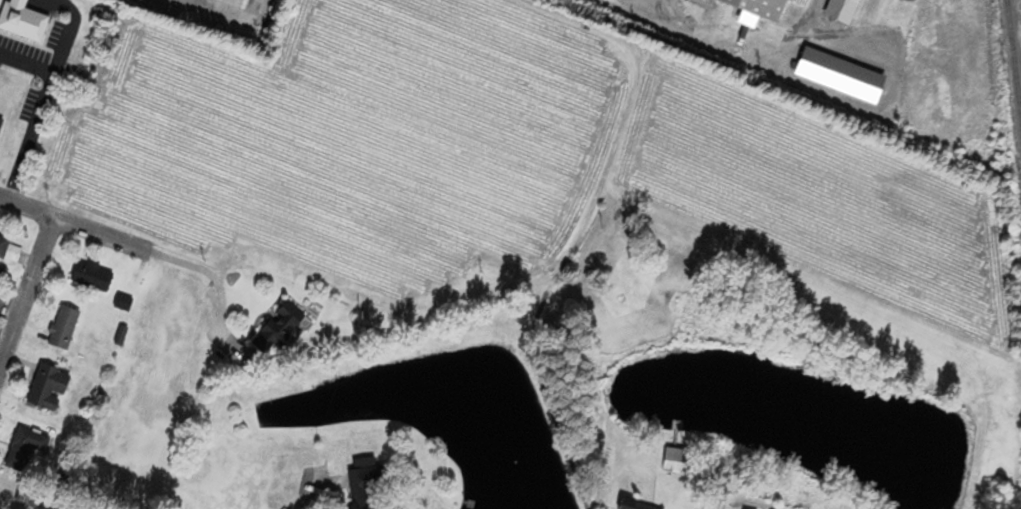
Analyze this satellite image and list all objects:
building: (796, 2)
building: (755, 8)
building: (837, 10)
road: (227, 13)
building: (23, 21)
railway: (991, 38)
railway: (1013, 61)
building: (836, 75)
building: (1, 123)
road: (106, 237)
building: (4, 245)
building: (93, 278)
road: (27, 294)
building: (64, 329)
building: (280, 331)
building: (48, 389)
building: (25, 450)
building: (677, 461)
building: (364, 485)
building: (39, 502)
road: (735, 504)
building: (633, 505)

